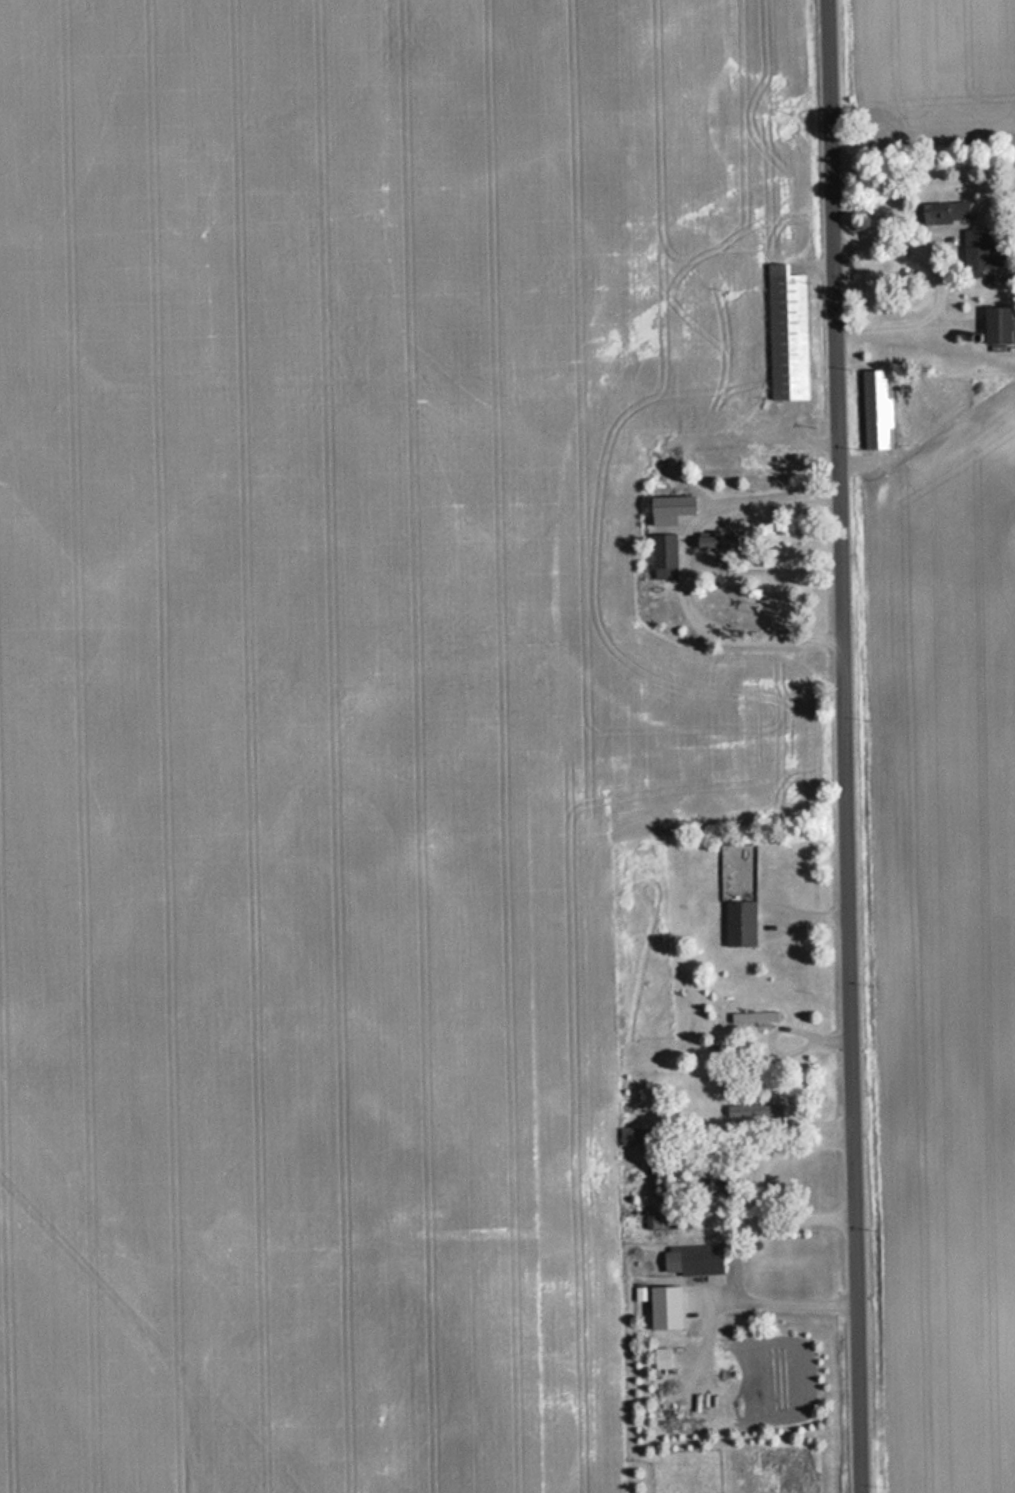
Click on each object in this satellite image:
building: (943, 213)
building: (983, 253)
road: (945, 262)
building: (996, 326)
building: (786, 339)
building: (876, 410)
building: (669, 507)
building: (710, 543)
building: (663, 557)
road: (762, 568)
road: (680, 572)
road: (846, 746)
building: (738, 923)
building: (753, 1019)
building: (756, 1116)
building: (632, 1136)
building: (713, 1185)
building: (654, 1222)
building: (691, 1260)

